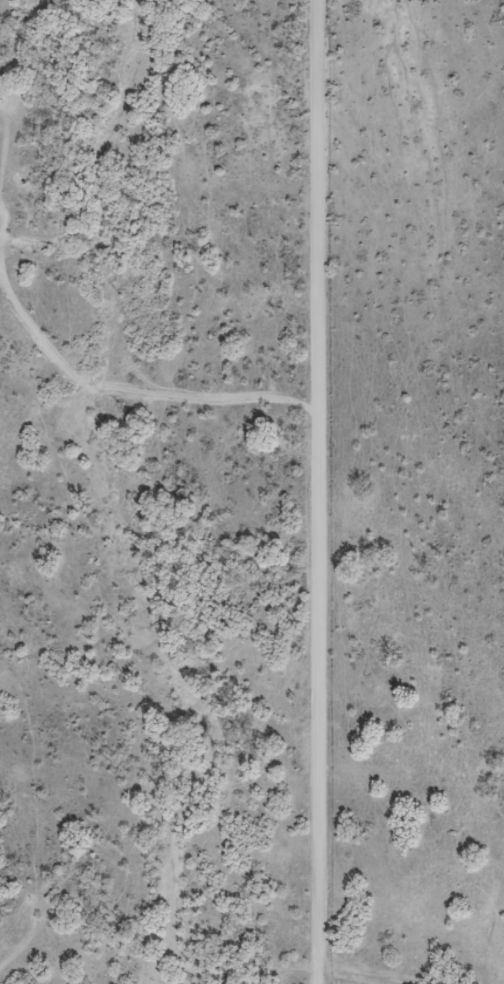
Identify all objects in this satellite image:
road: (100, 379)
road: (315, 492)

